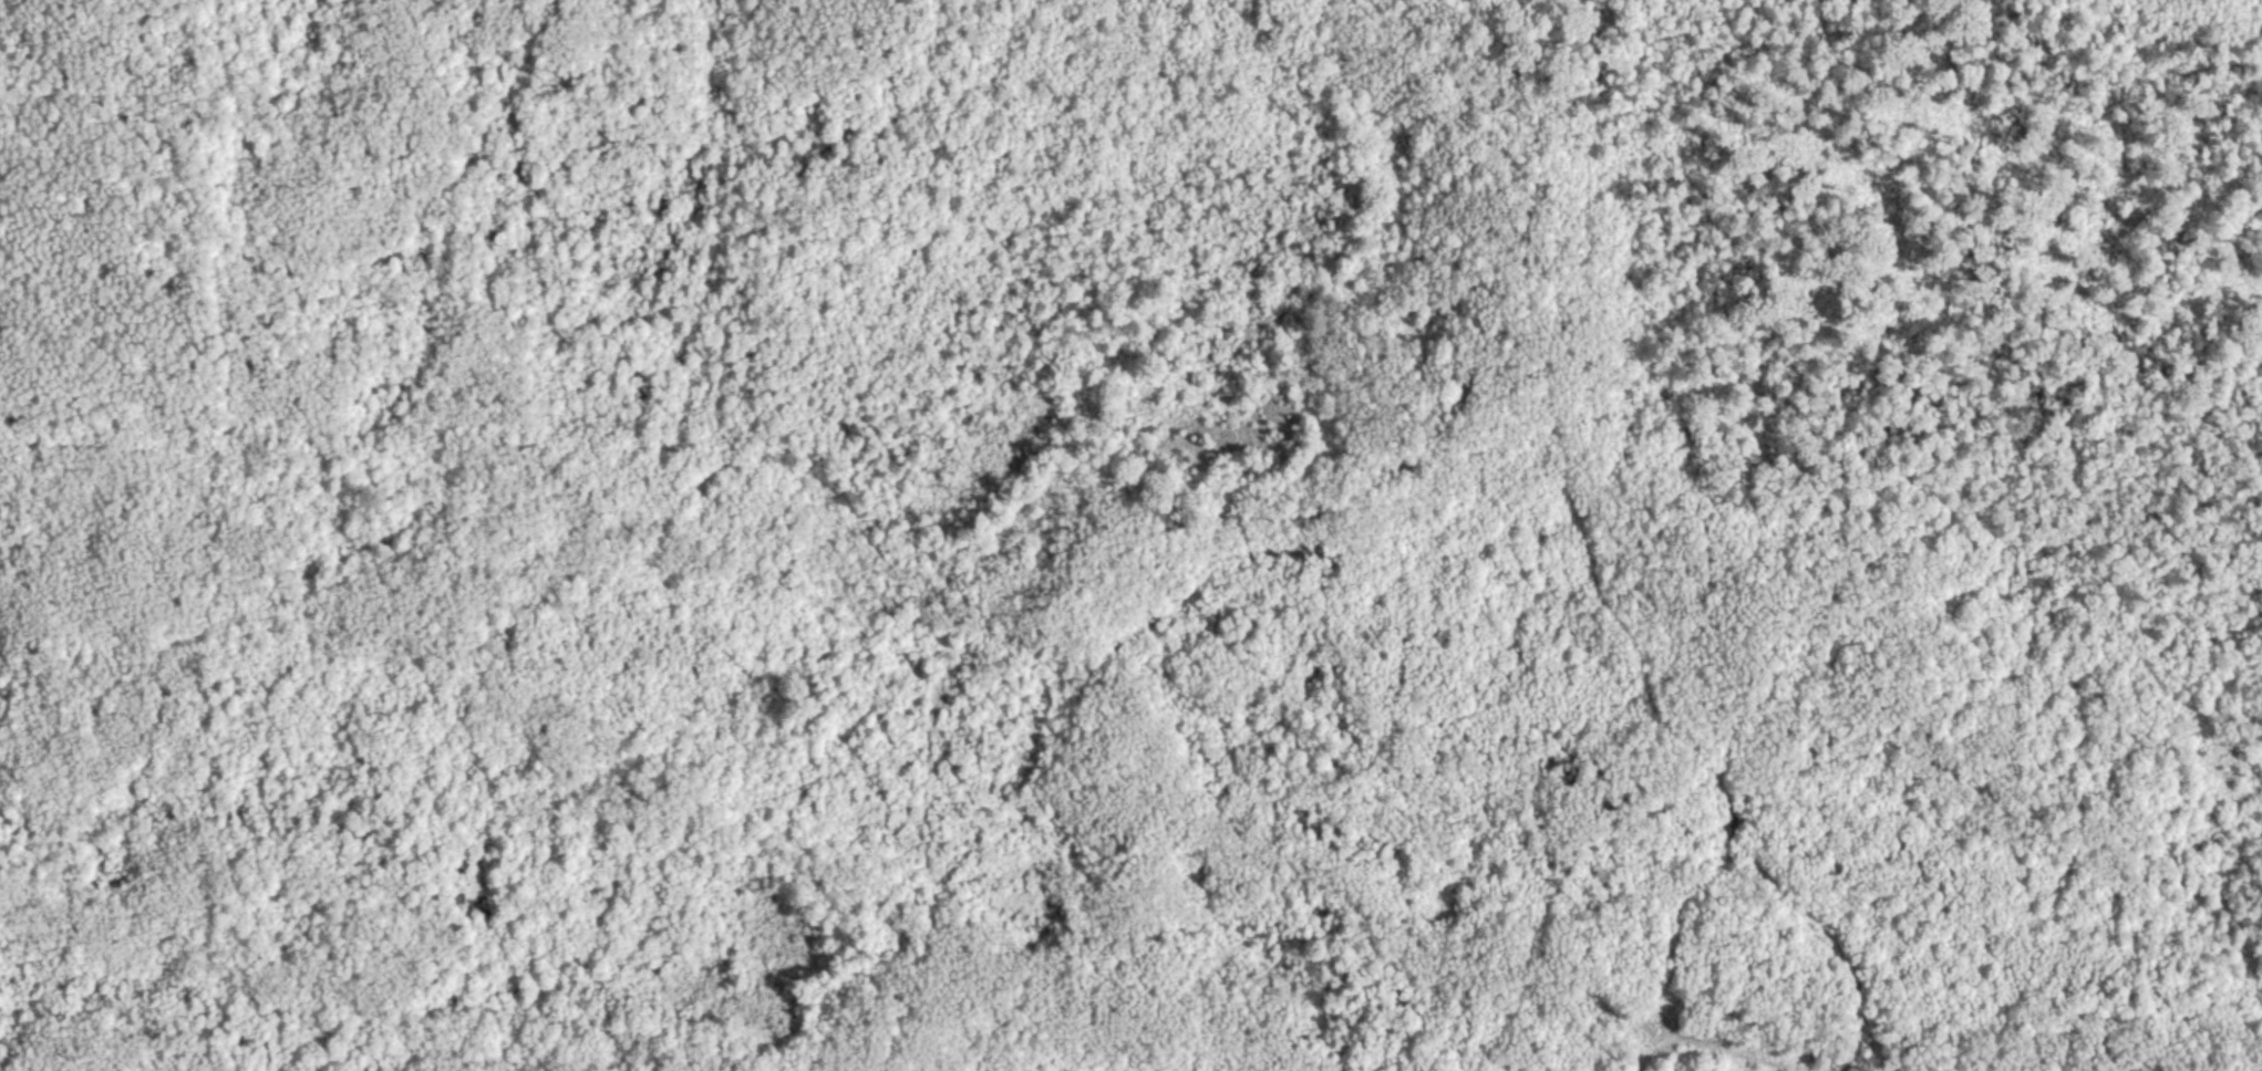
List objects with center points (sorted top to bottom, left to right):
road: (1701, 1052)

